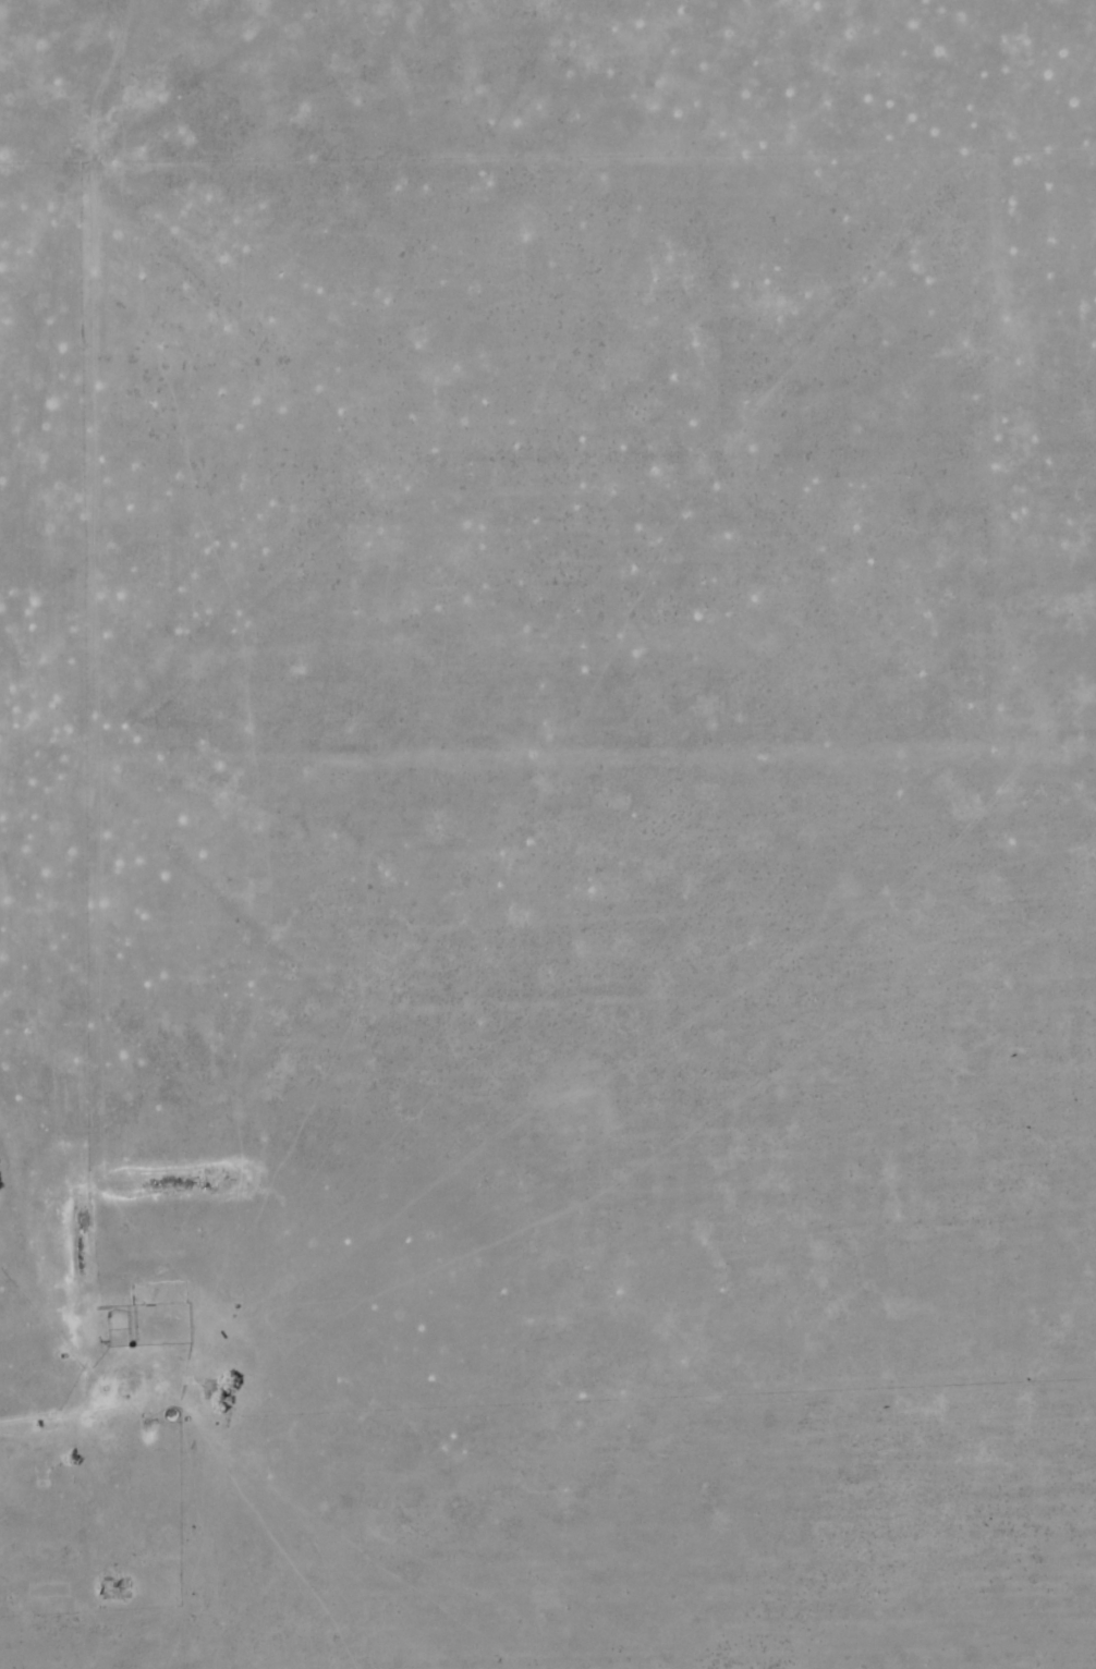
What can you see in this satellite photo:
building: (214, 1390)
road: (103, 1421)
building: (113, 1587)

